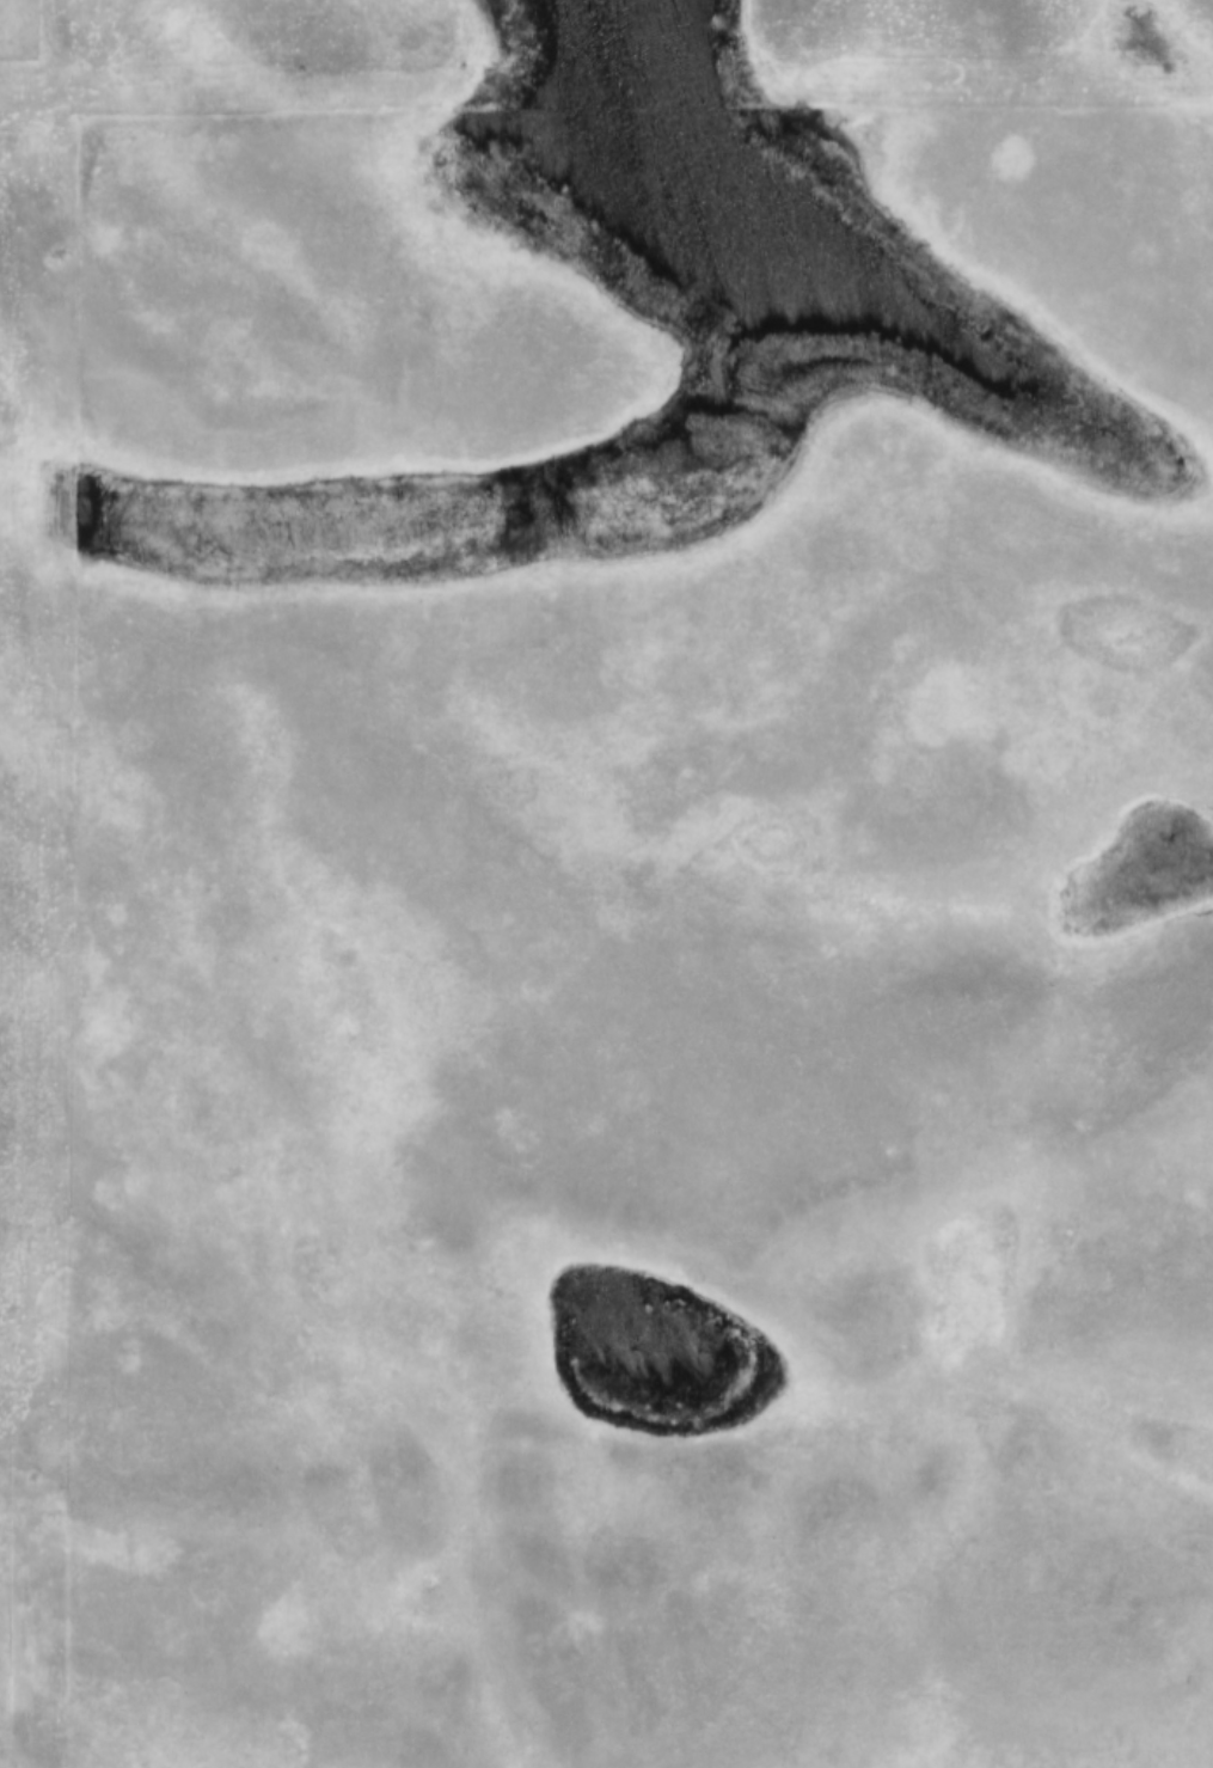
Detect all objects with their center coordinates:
road: (25, 106)

